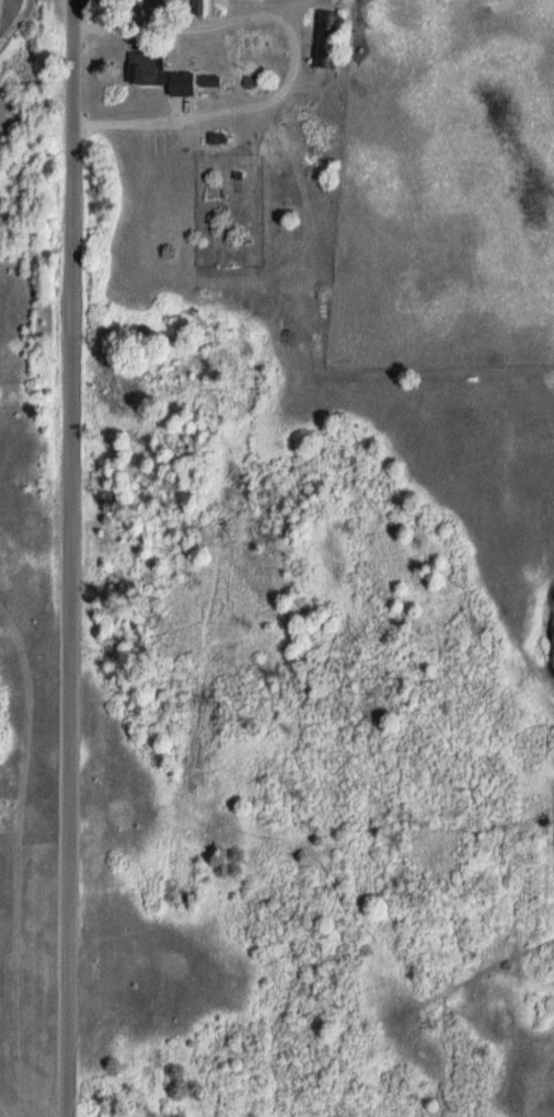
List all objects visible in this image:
building: (206, 9)
building: (326, 42)
road: (296, 55)
building: (146, 70)
building: (212, 83)
road: (68, 558)

